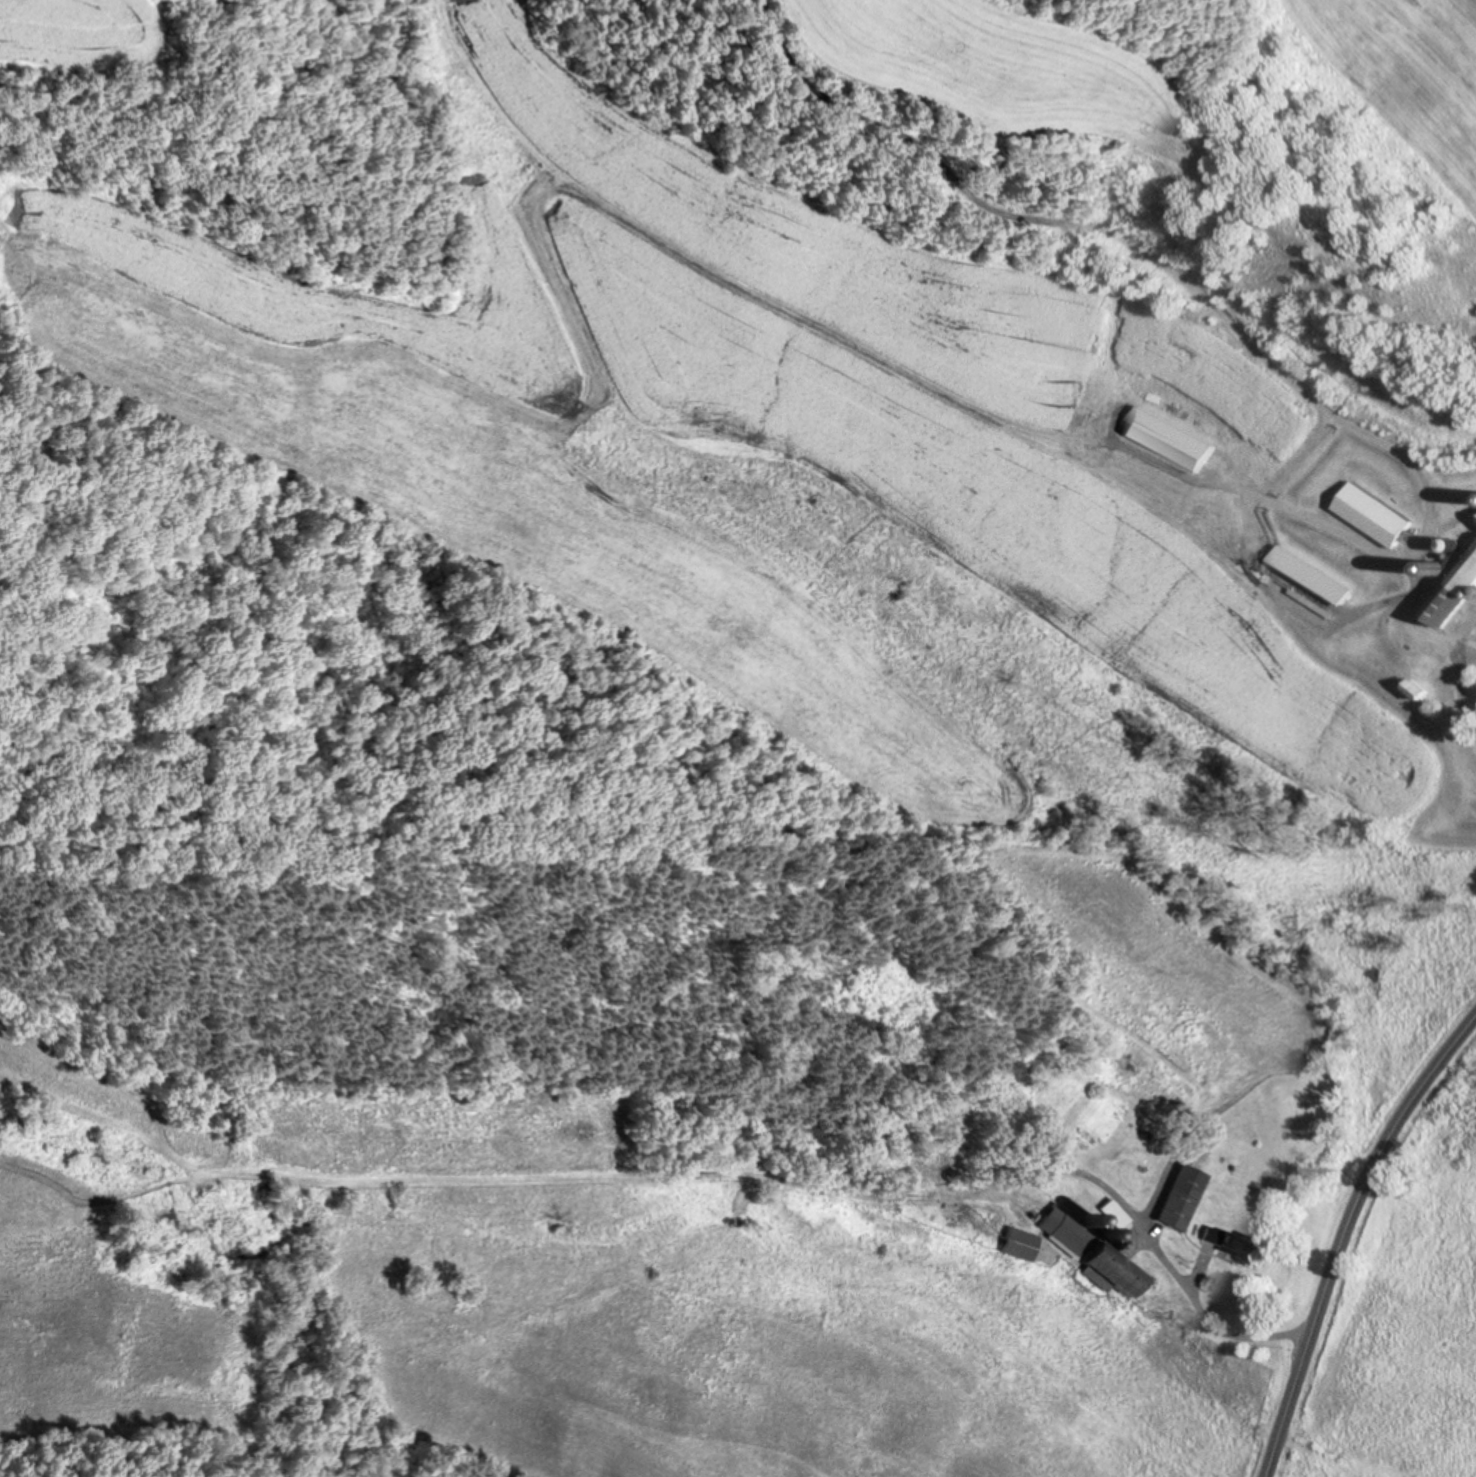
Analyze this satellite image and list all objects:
road: (1133, 251)
building: (1164, 440)
road: (1300, 461)
building: (1368, 515)
building: (1475, 524)
road: (1242, 534)
building: (1307, 574)
building: (1453, 590)
road: (1463, 660)
building: (1413, 689)
building: (1179, 1195)
building: (1112, 1212)
road: (1345, 1234)
building: (1230, 1241)
building: (1017, 1242)
building: (1090, 1252)
road: (1194, 1297)

